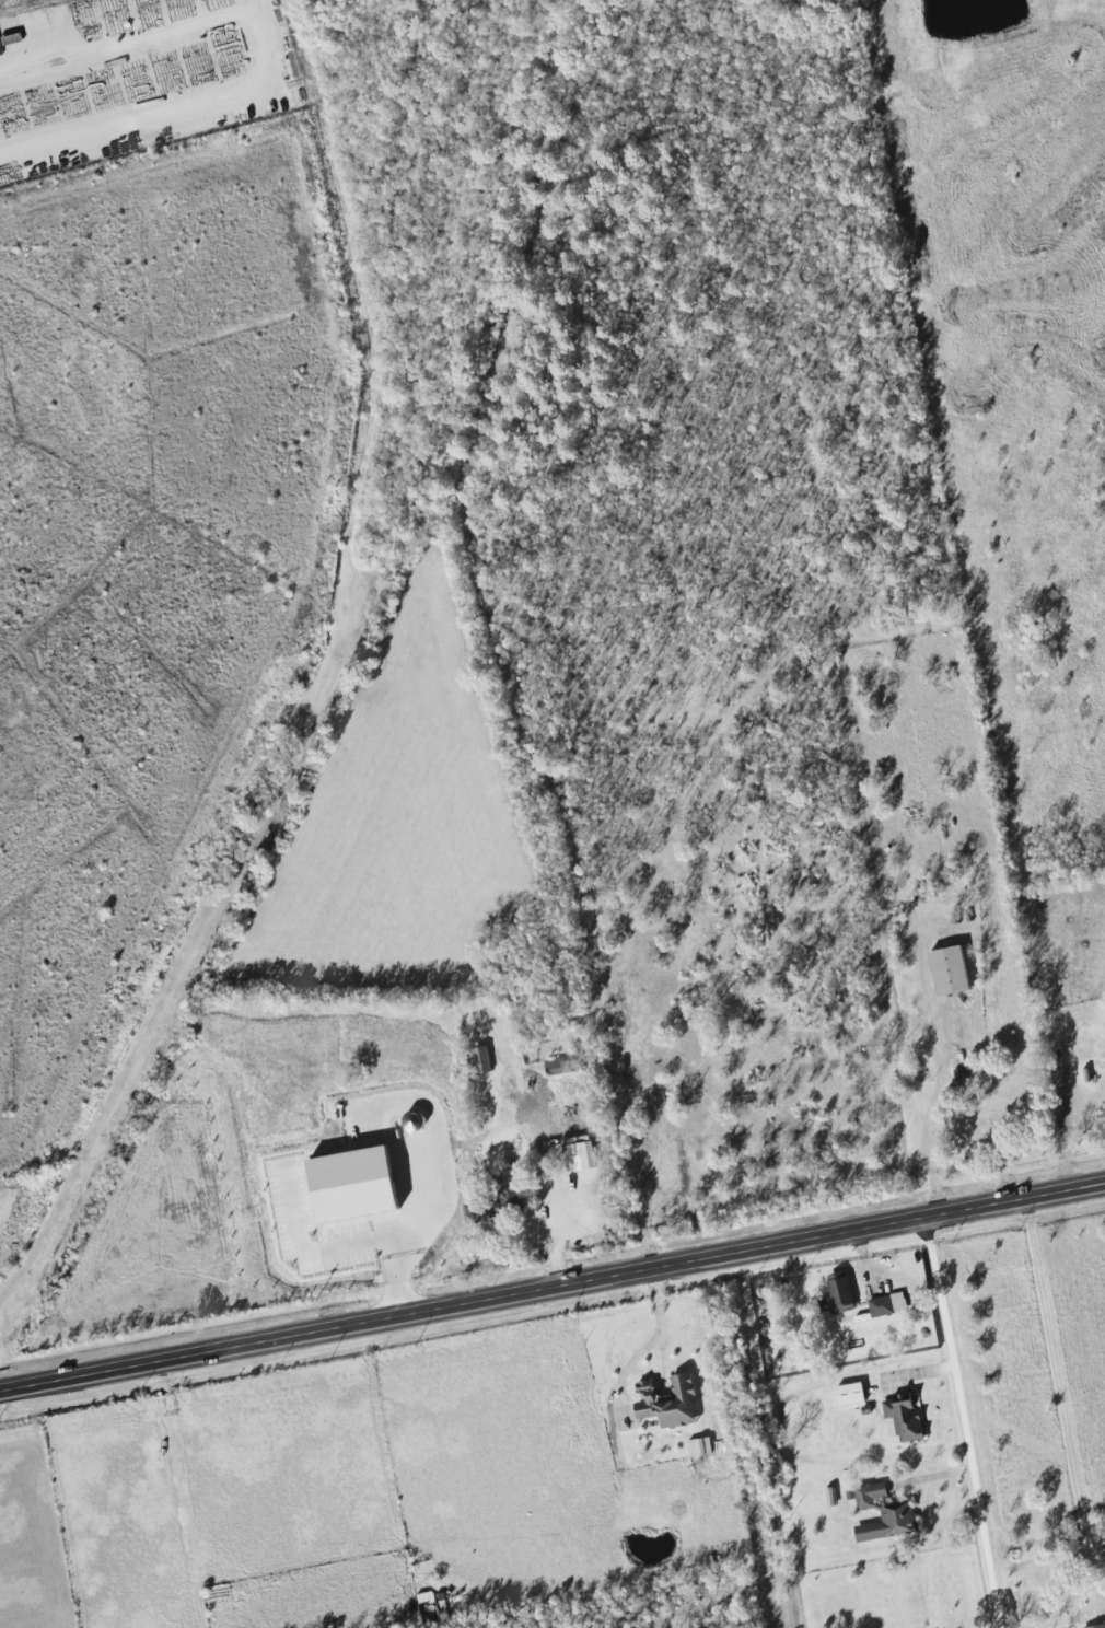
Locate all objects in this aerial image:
road: (119, 115)
road: (331, 691)
building: (1104, 894)
building: (947, 970)
building: (480, 1060)
building: (554, 1067)
building: (504, 1197)
building: (398, 1203)
building: (419, 1231)
road: (545, 1240)
road: (419, 1265)
road: (551, 1290)
building: (835, 1293)
building: (879, 1306)
road: (647, 1345)
road: (949, 1351)
building: (849, 1394)
building: (666, 1403)
building: (903, 1418)
building: (697, 1447)
road: (930, 1484)
building: (881, 1514)
road: (1062, 1620)
building: (1097, 1626)

